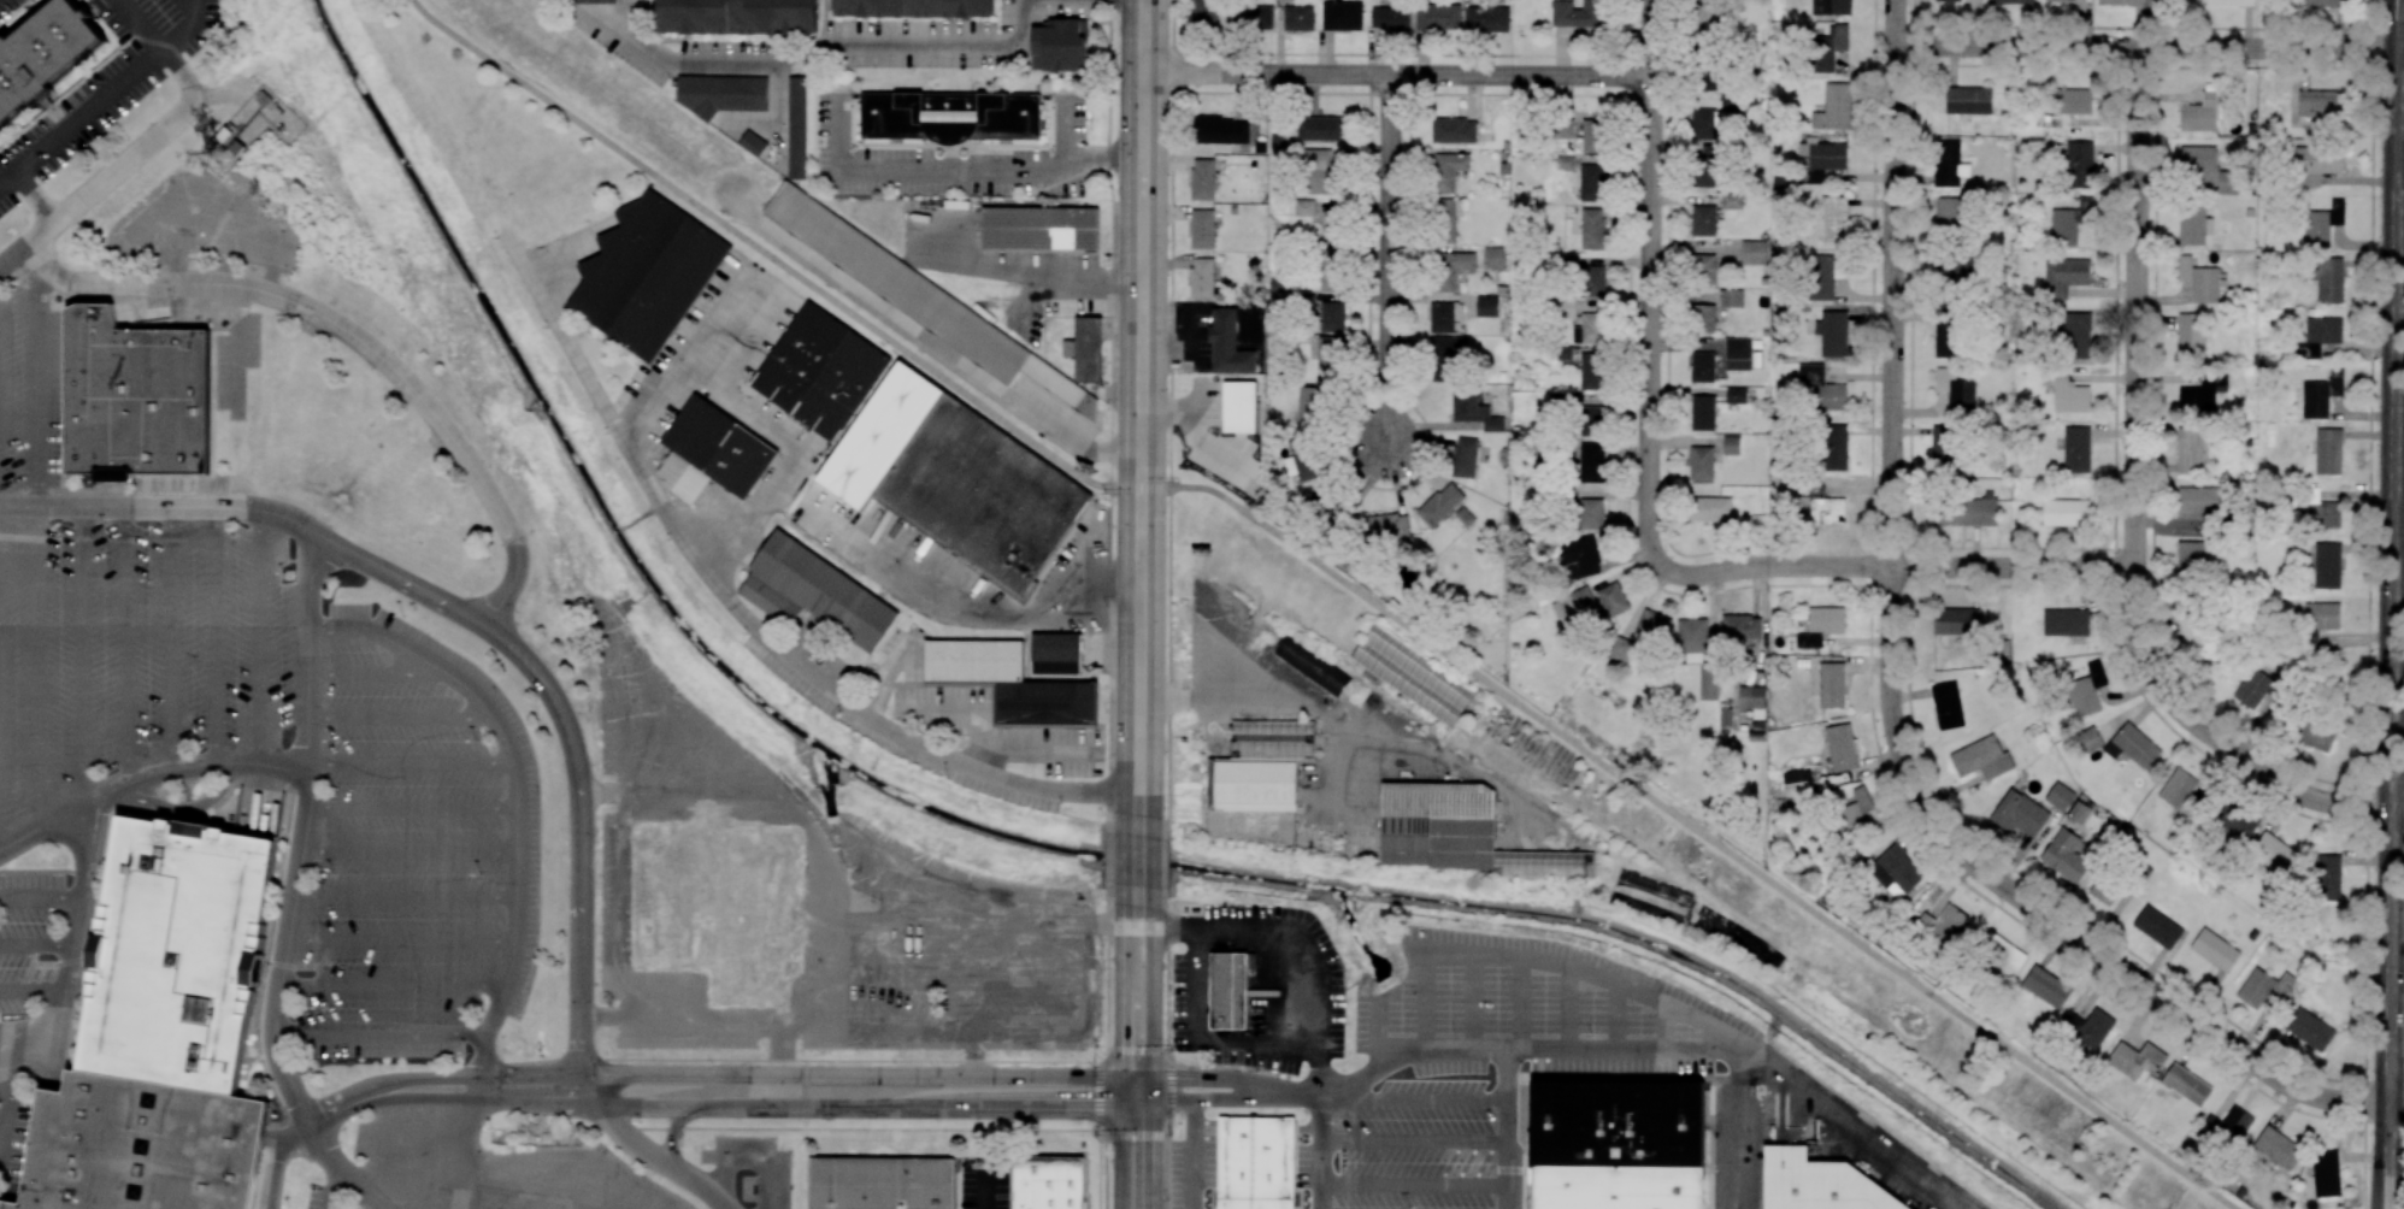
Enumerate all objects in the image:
building: (583, 0)
building: (1278, 0)
building: (1948, 0)
building: (2058, 0)
building: (2184, 0)
building: (2010, 1)
building: (2121, 2)
building: (2231, 2)
building: (2320, 2)
building: (1832, 7)
building: (915, 8)
building: (1204, 12)
building: (1578, 13)
building: (1342, 14)
building: (1438, 16)
building: (738, 17)
building: (1253, 17)
building: (1298, 18)
building: (1390, 18)
building: (1486, 18)
building: (1705, 22)
road: (147, 34)
building: (1059, 45)
building: (1828, 48)
road: (2146, 48)
building: (43, 54)
road: (839, 59)
road: (1401, 75)
building: (1705, 76)
building: (721, 93)
road: (104, 94)
building: (1969, 100)
building: (2320, 102)
building: (2068, 105)
building: (1834, 107)
building: (2204, 110)
building: (950, 116)
building: (1711, 118)
building: (264, 125)
road: (1068, 125)
building: (796, 128)
building: (1321, 128)
building: (1566, 128)
building: (1221, 130)
building: (1454, 130)
building: (1595, 136)
building: (753, 143)
building: (2197, 159)
building: (1820, 160)
building: (1566, 163)
building: (1948, 164)
building: (2079, 164)
building: (2316, 164)
road: (2400, 164)
building: (1708, 165)
road: (964, 167)
building: (1320, 171)
building: (1449, 171)
road: (110, 173)
building: (1203, 179)
building: (1592, 182)
building: (2227, 182)
road: (34, 196)
building: (1731, 200)
building: (1304, 207)
building: (1950, 212)
building: (1446, 219)
building: (1834, 219)
building: (1703, 220)
building: (2070, 222)
building: (2322, 224)
building: (2193, 225)
building: (1330, 226)
building: (1039, 228)
building: (1202, 229)
building: (1593, 229)
road: (758, 249)
building: (1754, 252)
road: (560, 255)
building: (1495, 256)
road: (36, 260)
road: (1391, 263)
building: (1331, 267)
building: (1450, 267)
building: (1702, 269)
building: (1954, 269)
building: (647, 275)
building: (1825, 275)
building: (2064, 276)
building: (1202, 277)
road: (1652, 278)
building: (2328, 279)
building: (1593, 281)
building: (2199, 281)
building: (1731, 297)
building: (923, 299)
building: (1486, 306)
building: (1563, 307)
building: (1332, 315)
building: (1442, 317)
building: (1703, 318)
building: (1590, 329)
building: (1833, 334)
building: (2076, 335)
building: (2191, 335)
building: (2318, 336)
building: (1948, 338)
building: (1226, 343)
road: (370, 347)
road: (683, 348)
building: (1088, 349)
building: (1563, 353)
building: (1738, 353)
road: (308, 355)
road: (950, 355)
building: (1448, 358)
building: (1328, 359)
building: (1702, 367)
building: (820, 371)
building: (1592, 371)
parking lot: (29, 384)
road: (40, 388)
building: (1822, 388)
building: (1956, 393)
building: (2067, 393)
building: (2202, 394)
building: (2321, 394)
building: (135, 395)
building: (1736, 395)
road: (311, 401)
building: (1312, 406)
building: (1473, 409)
road: (1144, 412)
building: (1703, 413)
building: (1230, 420)
building: (1590, 420)
building: (1731, 444)
building: (719, 447)
building: (1834, 447)
building: (1945, 448)
building: (2076, 449)
building: (2190, 449)
road: (805, 450)
building: (2328, 450)
building: (1465, 456)
building: (1591, 462)
building: (1701, 462)
building: (346, 464)
traffic signals: (1144, 489)
building: (982, 495)
building: (2199, 503)
building: (1440, 505)
road: (2135, 505)
road: (166, 506)
building: (1822, 506)
building: (1710, 508)
building: (2320, 511)
building: (1966, 512)
building: (2066, 512)
building: (1590, 513)
building: (1387, 526)
road: (2399, 530)
road: (2394, 552)
building: (1580, 556)
building: (2188, 556)
road: (310, 560)
road: (328, 564)
building: (2327, 565)
road: (1891, 567)
building: (815, 592)
building: (1613, 598)
road: (2367, 603)
building: (1574, 606)
road: (994, 608)
road: (310, 611)
road: (747, 617)
building: (2320, 620)
building: (1956, 621)
building: (2067, 624)
building: (1742, 626)
building: (1821, 626)
building: (1652, 627)
building: (2194, 630)
road: (216, 636)
road: (259, 637)
road: (171, 638)
road: (126, 644)
parking lot: (140, 650)
building: (1059, 653)
road: (83, 655)
building: (1698, 655)
building: (1312, 665)
road: (39, 666)
road: (379, 674)
building: (1413, 676)
building: (1009, 682)
building: (1831, 685)
building: (2253, 688)
road: (1892, 690)
building: (2087, 690)
building: (1751, 696)
road: (310, 702)
building: (1948, 704)
road: (938, 708)
road: (1291, 708)
building: (1725, 716)
road: (402, 719)
building: (2314, 733)
building: (2088, 739)
road: (572, 744)
building: (2132, 745)
road: (1026, 747)
building: (1840, 747)
building: (1981, 757)
road: (412, 763)
building: (1260, 766)
road: (206, 768)
road: (515, 768)
building: (1798, 783)
building: (2180, 791)
building: (2060, 796)
road: (255, 800)
road: (413, 808)
road: (2398, 808)
road: (188, 809)
building: (2079, 812)
building: (1857, 813)
building: (2019, 813)
road: (1681, 820)
building: (2235, 820)
road: (52, 821)
road: (99, 832)
road: (69, 834)
river: (1018, 838)
parking lot: (416, 848)
road: (409, 853)
building: (2274, 853)
building: (2067, 855)
building: (1545, 862)
building: (1896, 871)
road: (1142, 877)
building: (2326, 877)
building: (2103, 890)
road: (406, 897)
road: (43, 898)
building: (1944, 922)
building: (2157, 926)
road: (847, 928)
road: (1203, 933)
parking lot: (29, 934)
road: (401, 942)
road: (40, 944)
building: (2215, 949)
road: (284, 951)
building: (1999, 954)
building: (178, 955)
road: (1546, 961)
road: (72, 986)
road: (391, 986)
building: (2046, 986)
building: (2264, 987)
building: (1230, 990)
road: (35, 991)
road: (1474, 1001)
road: (1520, 1003)
parking lot: (1530, 1007)
road: (1568, 1008)
road: (1124, 1014)
road: (1155, 1015)
road: (1619, 1016)
building: (2087, 1026)
road: (1667, 1027)
road: (1037, 1030)
building: (2309, 1030)
road: (381, 1033)
road: (1379, 1033)
road: (25, 1037)
road: (14, 1050)
road: (1563, 1050)
building: (2134, 1057)
road: (782, 1064)
road: (727, 1074)
traffic signals: (1124, 1078)
traffic signals: (1155, 1078)
building: (2186, 1085)
road: (1338, 1089)
road: (1292, 1092)
road: (10, 1096)
road: (1414, 1101)
traffic signals: (1124, 1104)
traffic signals: (1155, 1104)
road: (2397, 1104)
road: (730, 1107)
road: (472, 1121)
road: (2, 1126)
building: (2226, 1127)
road: (296, 1128)
road: (1321, 1128)
building: (1628, 1128)
road: (1863, 1128)
road: (1508, 1130)
road: (1742, 1131)
road: (676, 1132)
road: (273, 1138)
road: (1414, 1142)
road: (2, 1146)
building: (143, 1148)
building: (2278, 1148)
parking lot: (1413, 1149)
road: (378, 1150)
road: (644, 1151)
road: (419, 1154)
road: (1123, 1156)
road: (1154, 1156)
road: (1194, 1156)
road: (2386, 1156)
road: (2394, 1156)
road: (513, 1161)
building: (1254, 1162)
parking lot: (1194, 1166)
road: (341, 1168)
road: (276, 1169)
parking lot: (497, 1173)
building: (2326, 1173)
parking lot: (1911, 1174)
road: (606, 1180)
building: (1048, 1181)
building: (883, 1183)
road: (554, 1184)
road: (1413, 1184)
building: (1820, 1184)
road: (509, 1185)
parking lot: (983, 1185)
road: (985, 1185)
road: (334, 1189)
road: (599, 1193)
parking lot: (322, 1197)
building: (1621, 1197)
road: (1951, 1201)
road: (270, 1205)
road: (272, 1205)
road: (643, 1207)

